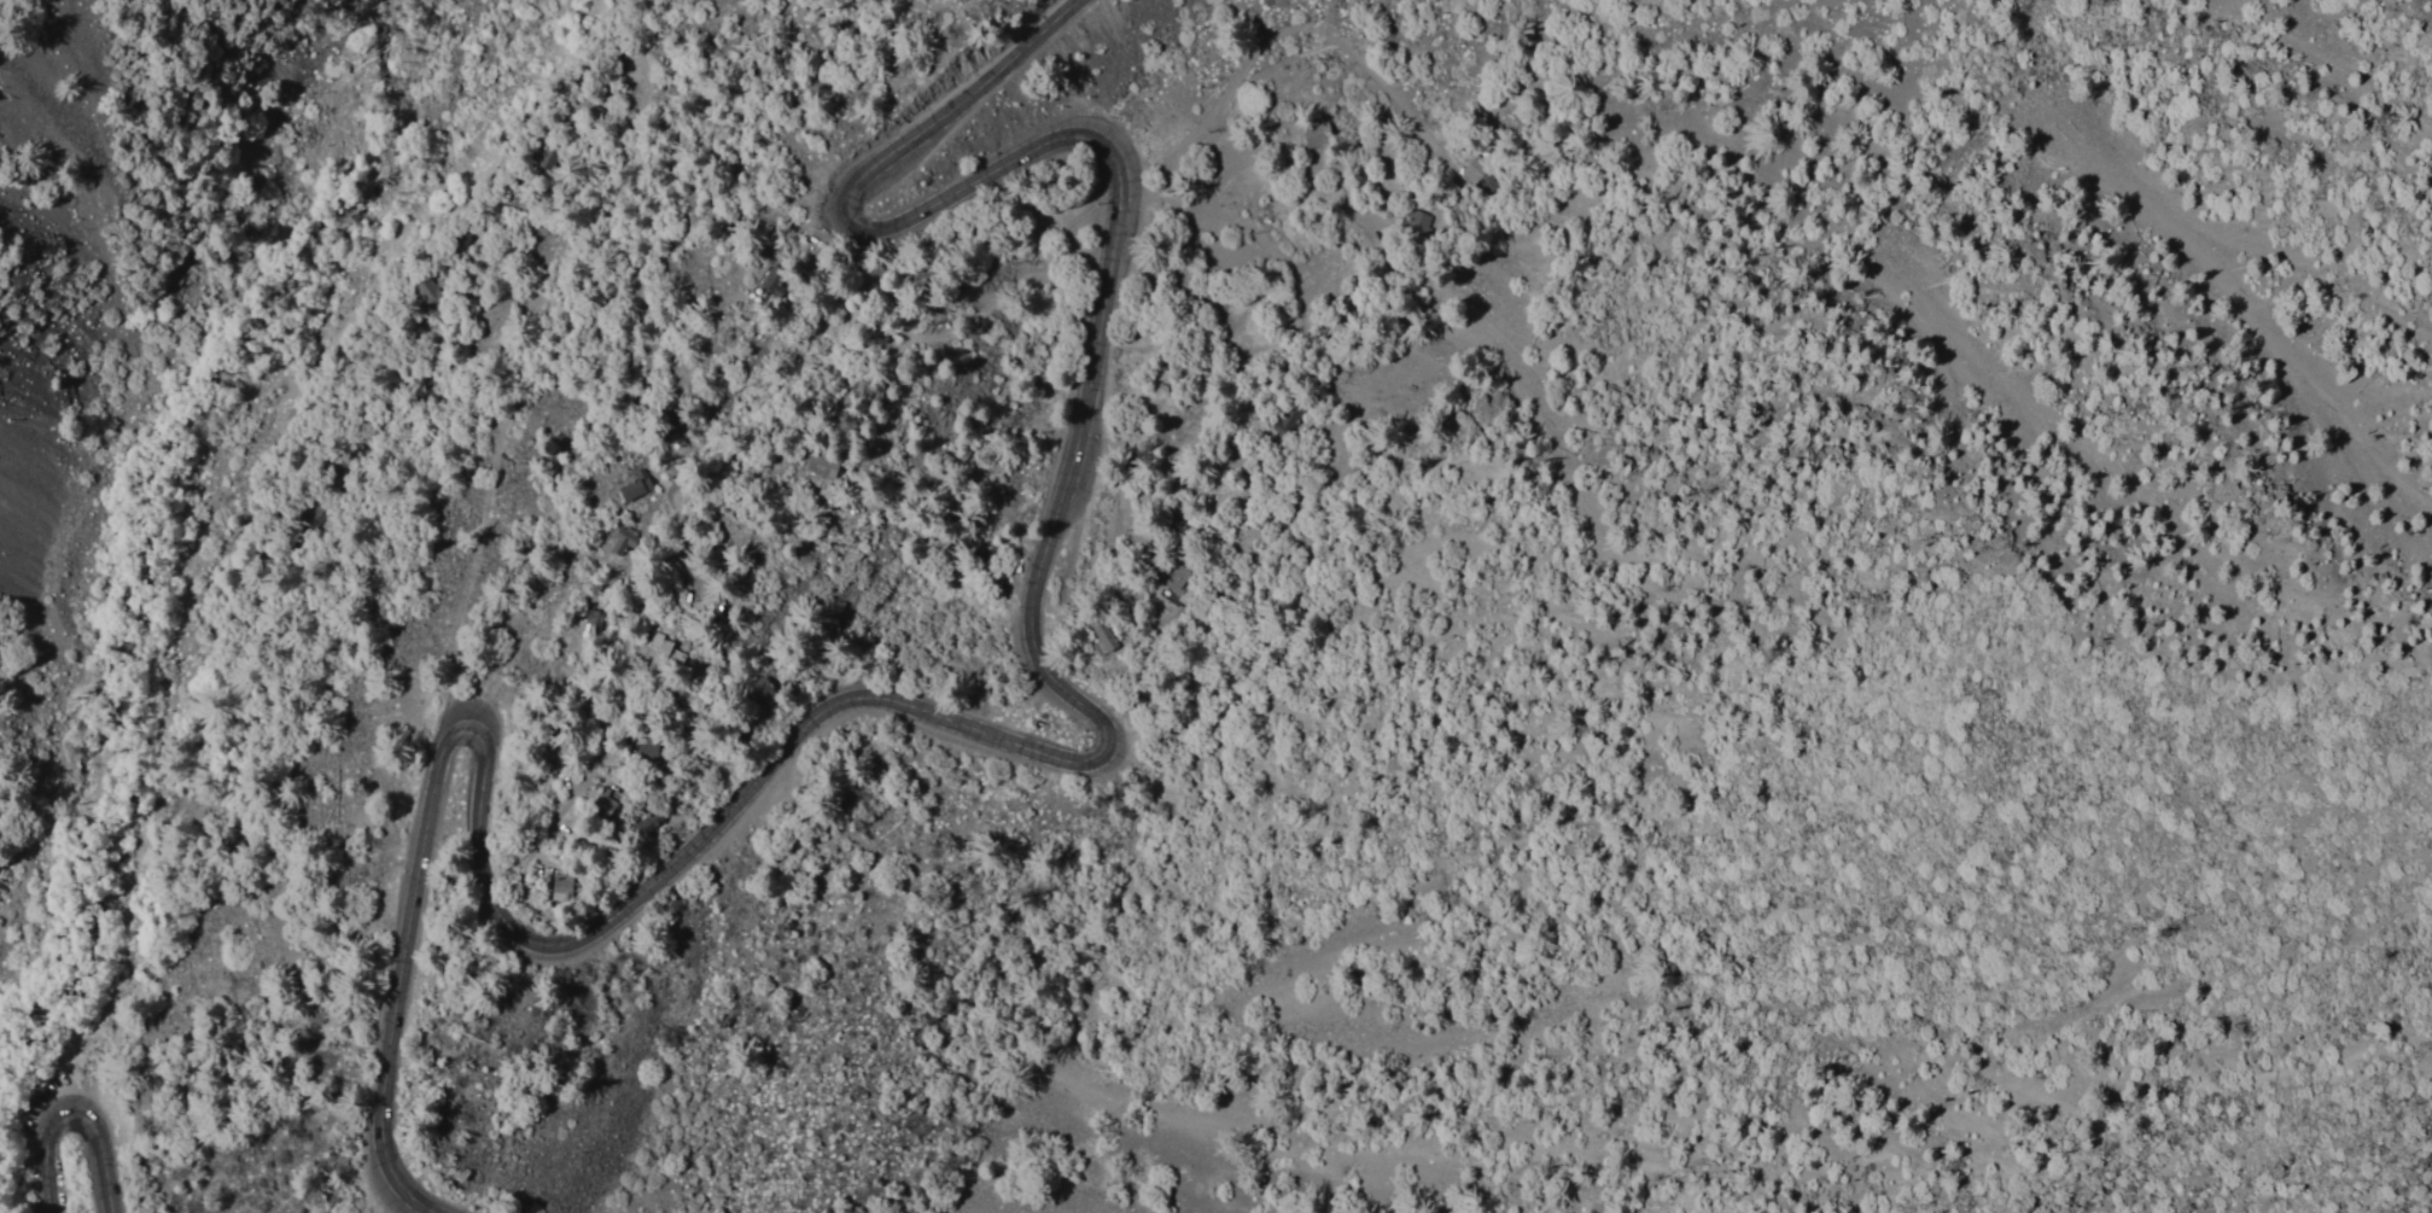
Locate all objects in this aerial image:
road: (836, 257)
building: (774, 287)
building: (439, 294)
road: (508, 389)
building: (817, 466)
building: (631, 489)
road: (1056, 521)
building: (733, 568)
building: (1177, 581)
building: (708, 606)
building: (1097, 636)
building: (664, 651)
road: (605, 695)
building: (642, 752)
road: (185, 762)
building: (602, 805)
building: (643, 829)
road: (418, 876)
building: (556, 890)
road: (72, 1118)

